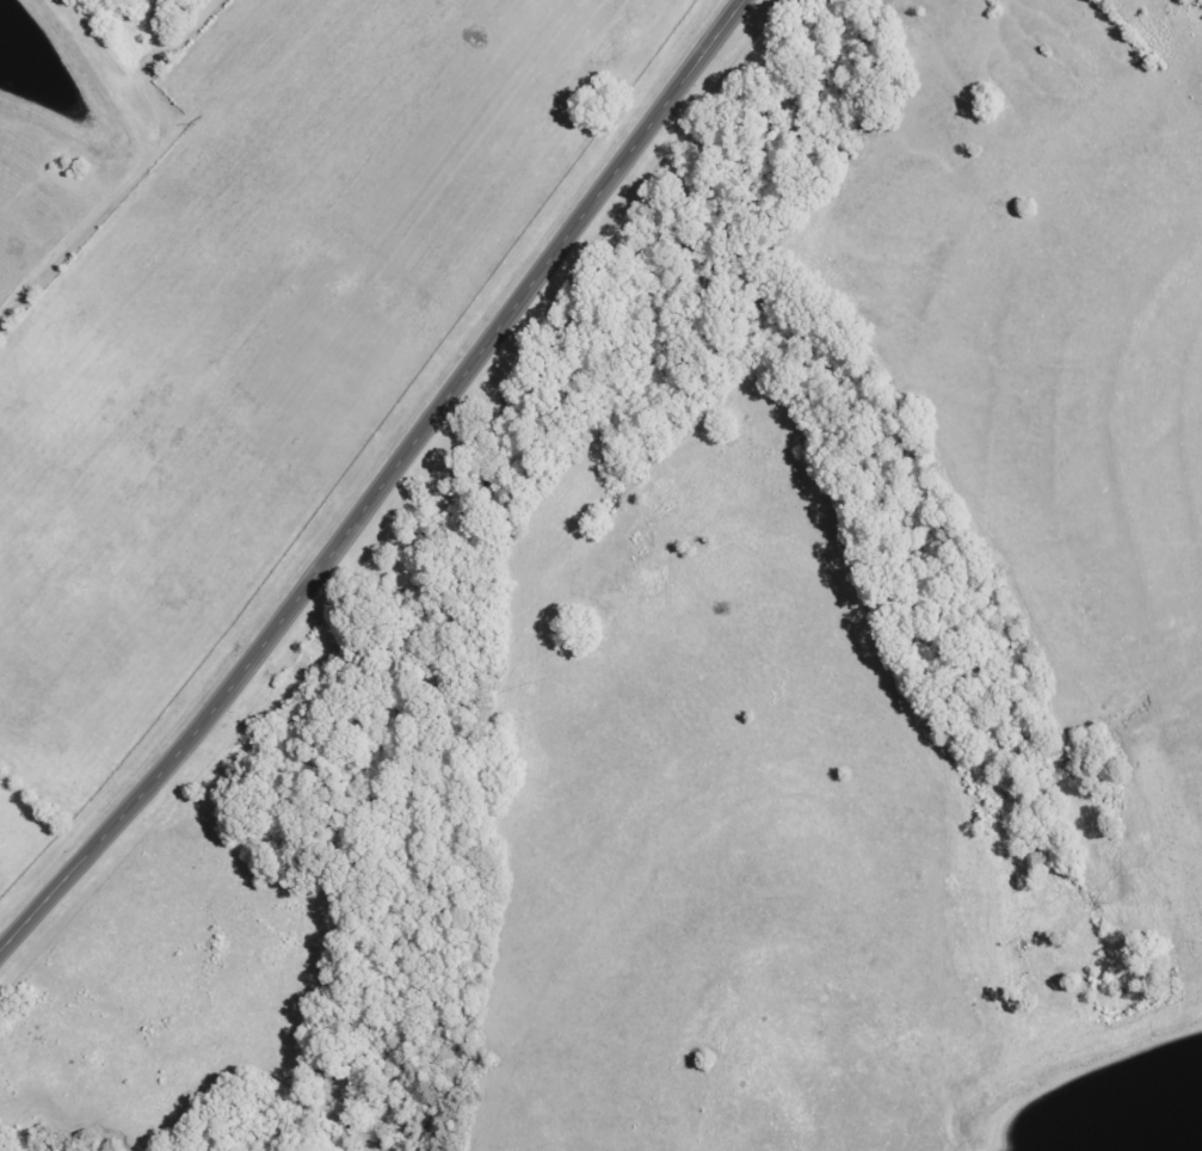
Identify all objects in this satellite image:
road: (386, 488)

